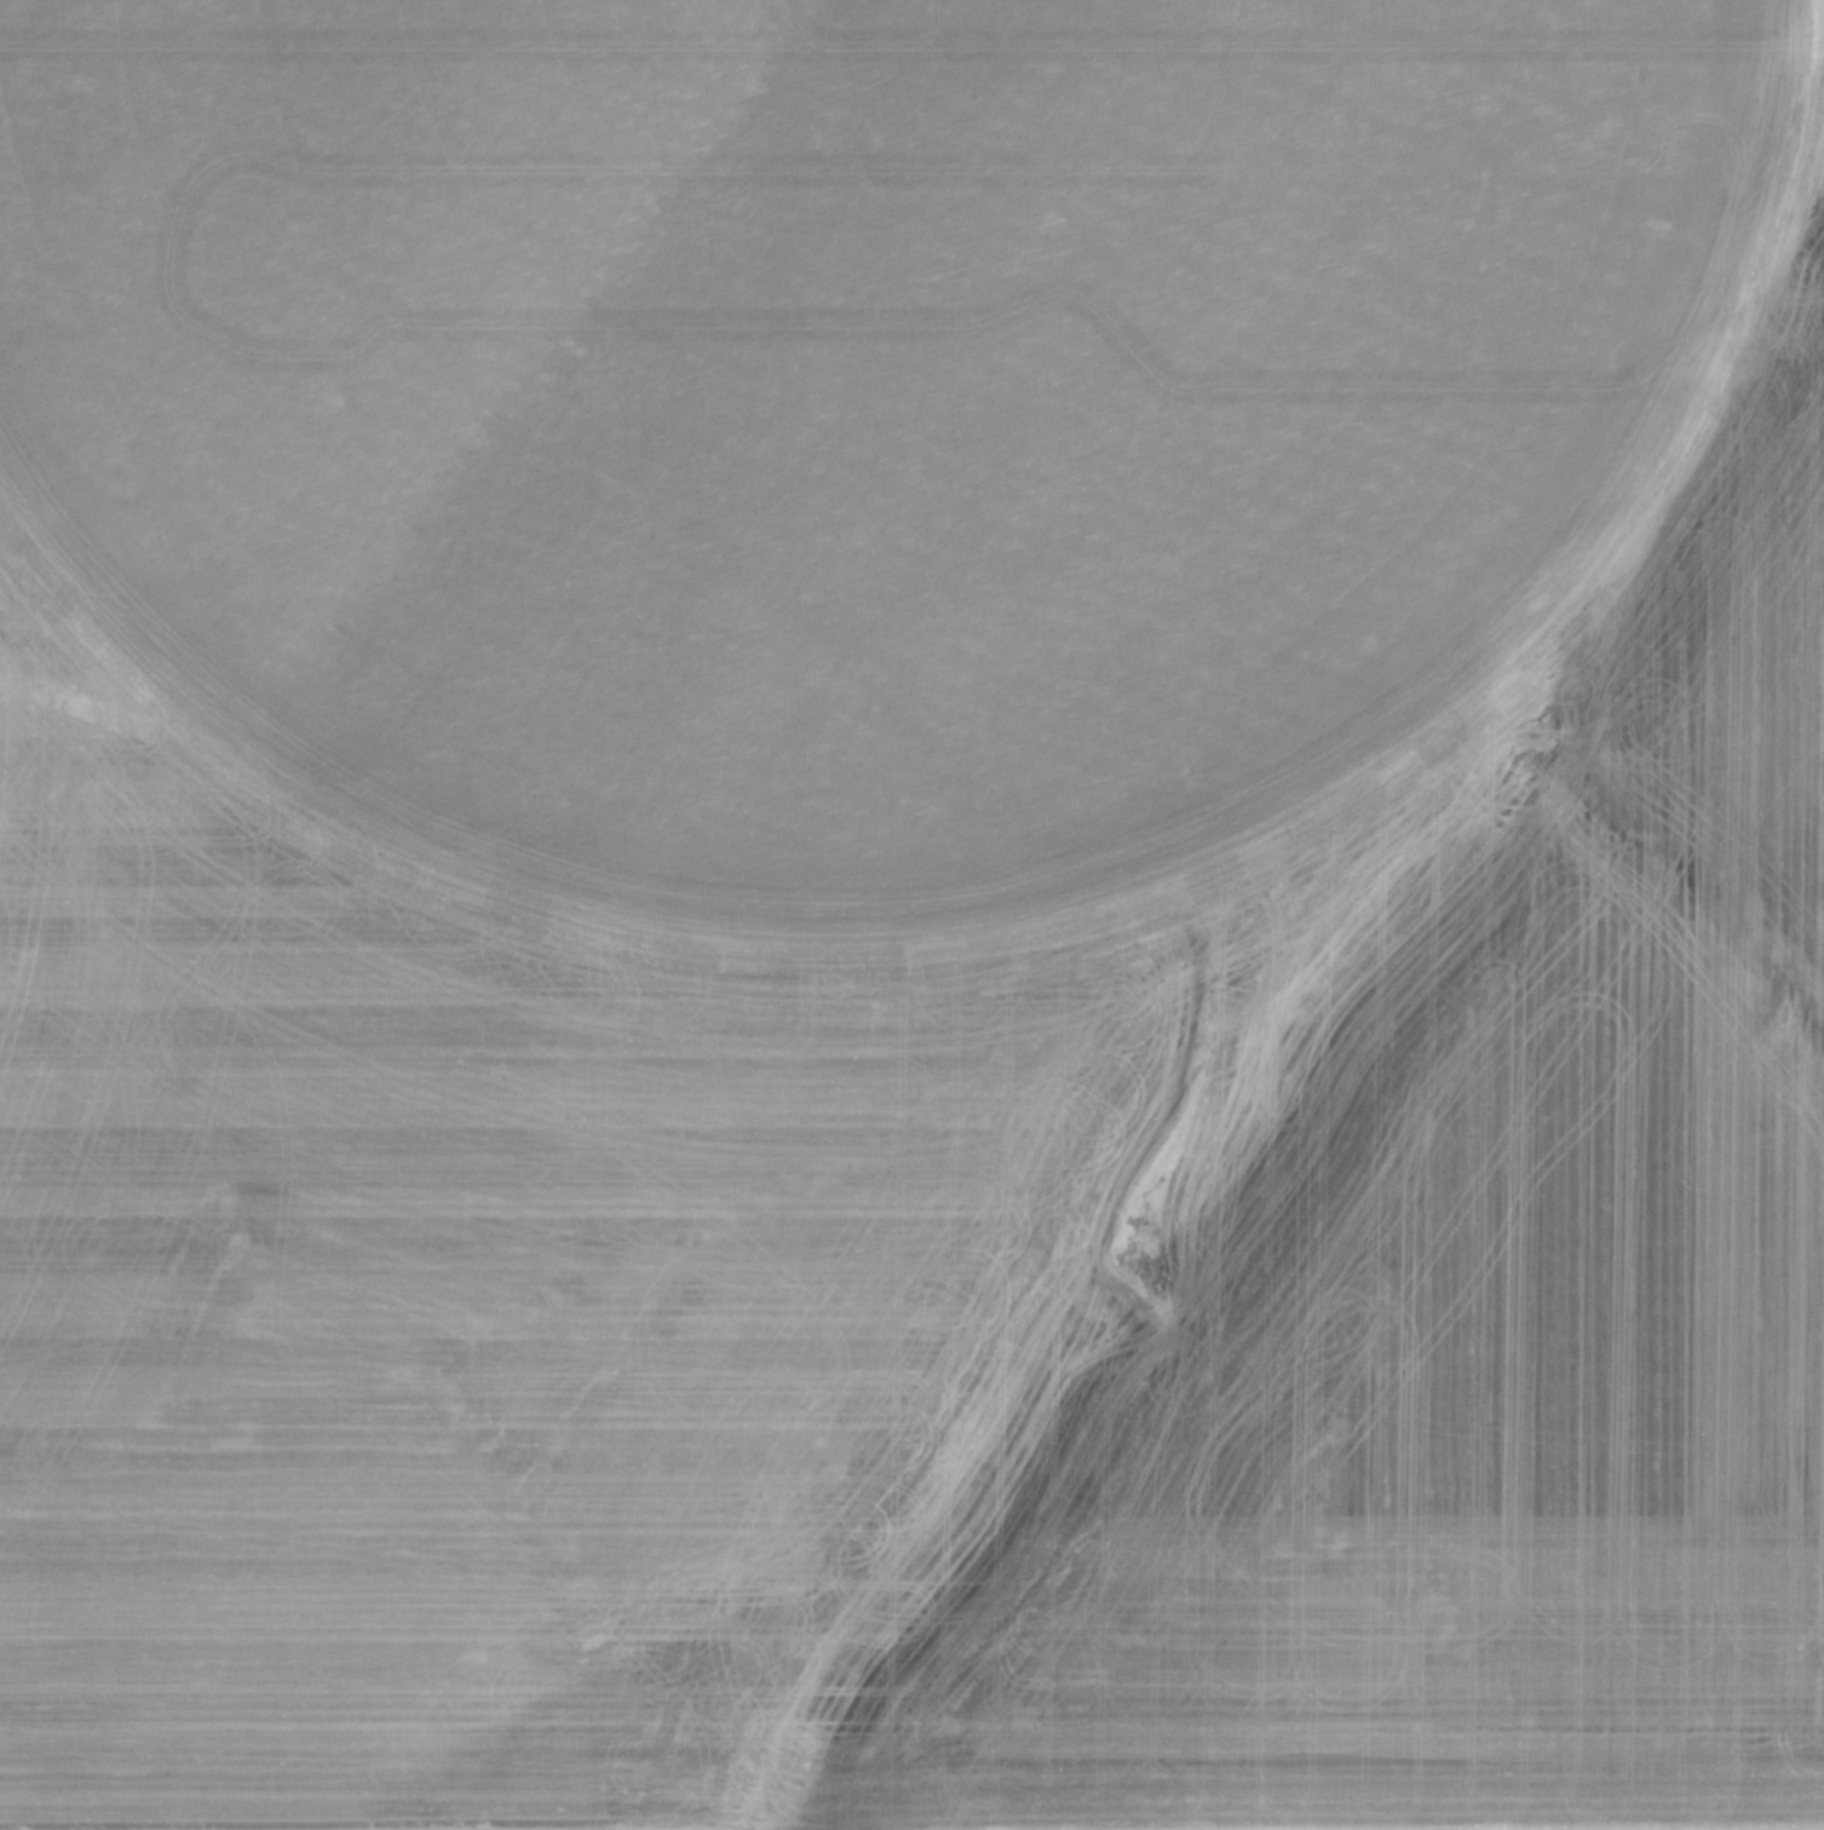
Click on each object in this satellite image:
crop: (868, 397)

